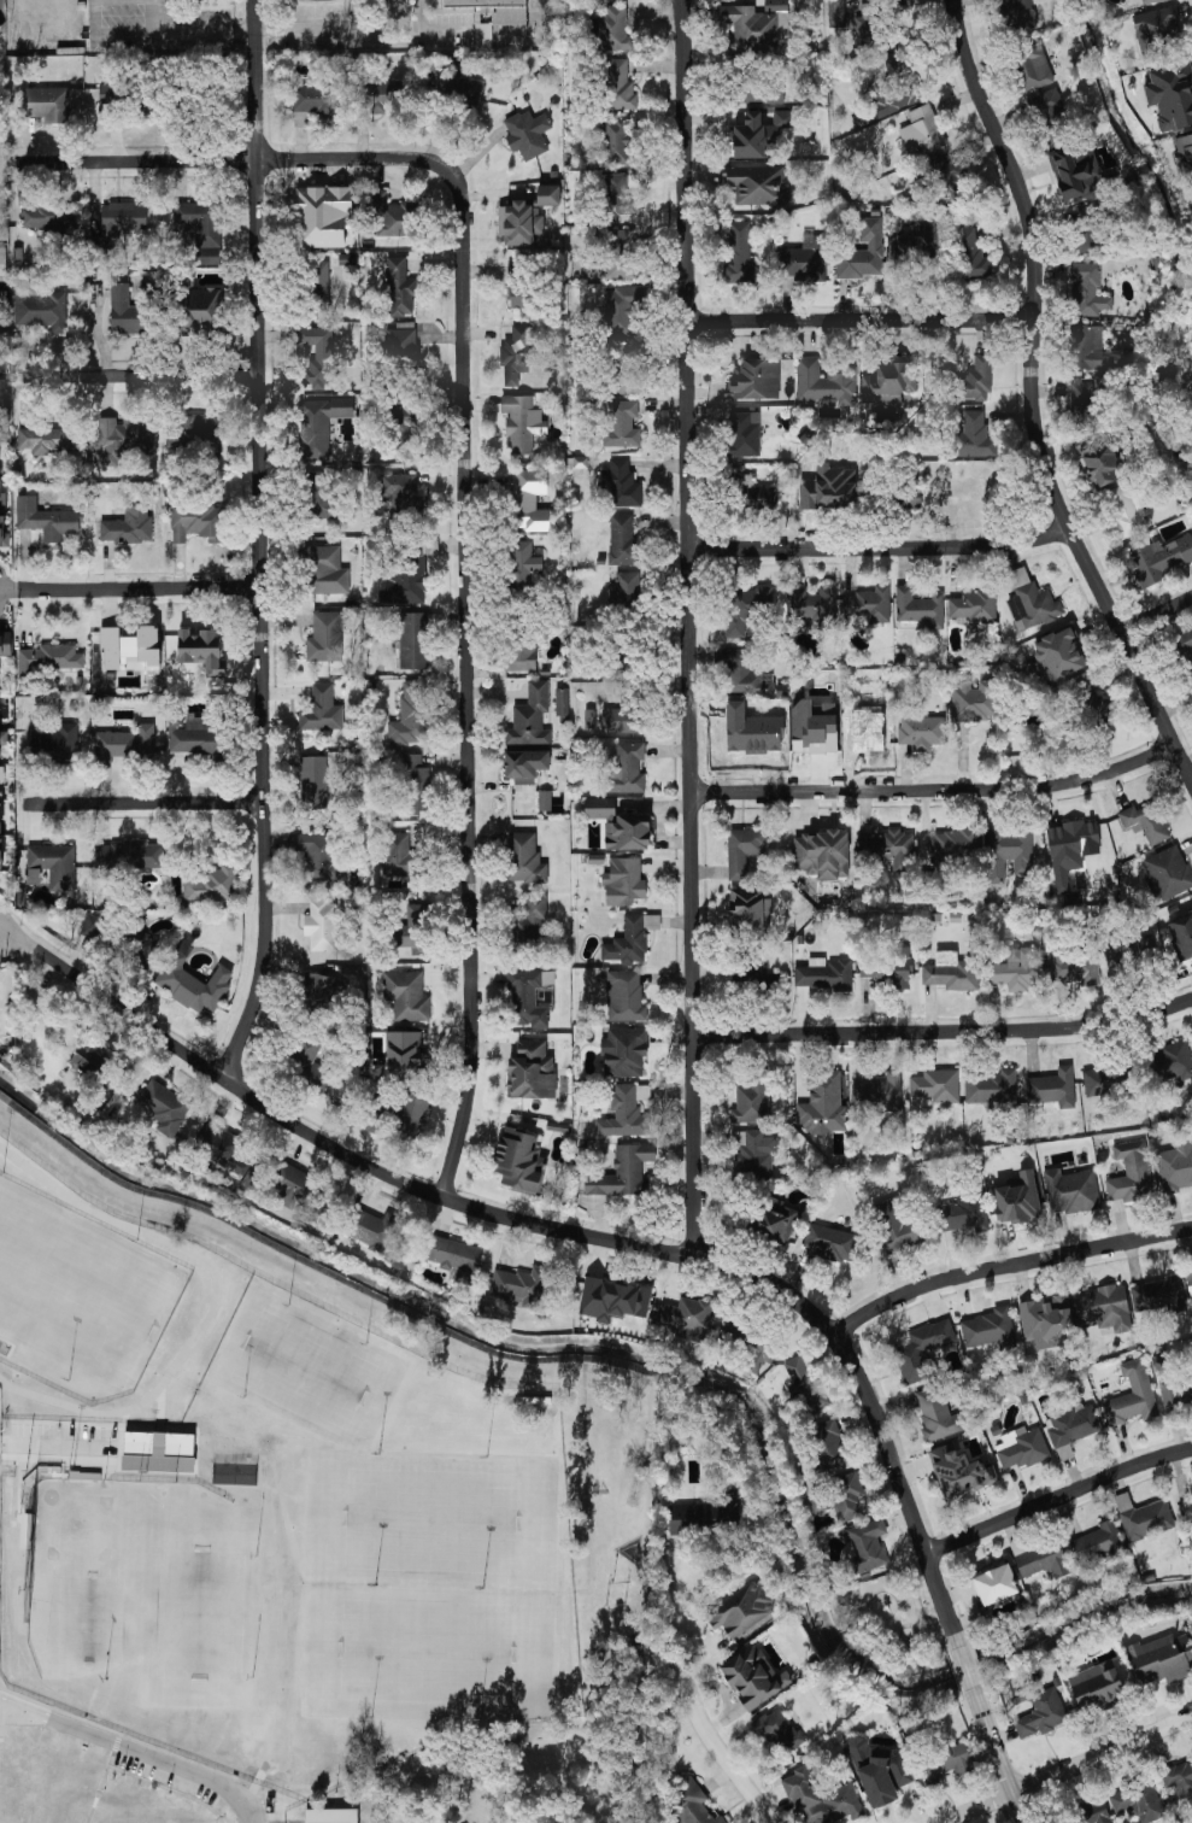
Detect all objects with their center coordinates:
building: (1150, 1)
road: (550, 5)
building: (499, 10)
building: (836, 13)
building: (853, 13)
building: (1012, 14)
building: (757, 24)
building: (875, 27)
road: (335, 28)
building: (613, 28)
road: (431, 29)
building: (1158, 31)
road: (189, 33)
building: (1032, 66)
building: (456, 82)
building: (620, 84)
building: (898, 87)
building: (759, 90)
building: (107, 93)
building: (378, 94)
building: (1172, 95)
building: (315, 101)
building: (47, 104)
building: (1050, 109)
building: (922, 131)
building: (761, 133)
building: (527, 134)
building: (617, 139)
building: (1184, 157)
road: (241, 159)
building: (1075, 170)
building: (943, 182)
building: (758, 184)
building: (548, 194)
building: (617, 194)
building: (322, 216)
building: (389, 216)
building: (49, 217)
building: (123, 218)
building: (519, 223)
building: (201, 228)
building: (1088, 241)
building: (920, 247)
building: (863, 252)
building: (620, 253)
building: (739, 253)
building: (971, 253)
building: (804, 259)
building: (2, 260)
building: (519, 285)
building: (318, 288)
building: (400, 288)
building: (1088, 289)
building: (40, 309)
building: (201, 309)
building: (622, 309)
building: (124, 311)
road: (863, 318)
building: (401, 341)
building: (1088, 348)
building: (518, 353)
building: (317, 357)
building: (628, 368)
road: (141, 374)
building: (756, 379)
building: (976, 380)
building: (824, 382)
building: (889, 382)
building: (4, 388)
road: (1035, 393)
building: (1082, 403)
building: (522, 422)
building: (319, 424)
building: (622, 424)
building: (399, 426)
building: (204, 429)
building: (745, 433)
building: (974, 436)
building: (125, 438)
building: (52, 439)
building: (1103, 458)
building: (622, 485)
building: (322, 494)
building: (401, 496)
building: (756, 496)
building: (528, 499)
building: (912, 499)
building: (2, 500)
building: (1126, 510)
building: (47, 520)
building: (198, 522)
building: (130, 523)
building: (4, 533)
building: (622, 540)
road: (262, 541)
road: (879, 546)
building: (1159, 557)
building: (523, 563)
building: (325, 570)
building: (406, 575)
building: (627, 586)
road: (131, 591)
building: (1030, 602)
building: (869, 605)
building: (973, 605)
building: (920, 606)
building: (746, 608)
building: (814, 608)
road: (1157, 614)
road: (689, 628)
building: (325, 637)
building: (413, 640)
building: (6, 641)
building: (130, 646)
building: (201, 649)
building: (1059, 655)
building: (521, 656)
building: (49, 658)
building: (744, 674)
road: (468, 685)
building: (562, 702)
building: (975, 702)
building: (322, 710)
building: (410, 715)
building: (530, 717)
building: (622, 720)
building: (812, 727)
building: (868, 731)
building: (922, 732)
building: (192, 734)
building: (4, 738)
building: (128, 743)
building: (53, 744)
building: (524, 764)
building: (627, 768)
building: (1, 773)
building: (313, 781)
building: (417, 785)
road: (940, 790)
building: (545, 799)
road: (151, 801)
building: (0, 817)
building: (1146, 821)
building: (620, 825)
building: (744, 849)
building: (1069, 849)
building: (883, 852)
building: (1009, 852)
building: (1, 854)
building: (397, 854)
building: (822, 854)
building: (950, 854)
building: (129, 855)
building: (317, 855)
building: (524, 858)
building: (55, 864)
building: (1168, 873)
building: (33, 875)
building: (624, 881)
building: (211, 884)
building: (751, 909)
building: (532, 915)
building: (322, 925)
building: (92, 927)
building: (413, 927)
building: (1182, 934)
building: (632, 939)
building: (139, 951)
building: (1115, 959)
building: (889, 967)
building: (1074, 967)
building: (1016, 969)
building: (952, 972)
building: (823, 974)
building: (194, 981)
building: (318, 990)
building: (406, 996)
building: (529, 996)
building: (626, 996)
road: (944, 1032)
building: (624, 1051)
building: (405, 1053)
building: (1172, 1061)
building: (307, 1063)
building: (532, 1071)
building: (1109, 1080)
building: (936, 1085)
building: (992, 1086)
building: (1053, 1088)
building: (880, 1091)
building: (751, 1100)
building: (823, 1104)
building: (165, 1107)
building: (627, 1112)
building: (398, 1115)
road: (325, 1142)
building: (221, 1147)
building: (753, 1154)
building: (519, 1160)
building: (1175, 1167)
building: (622, 1172)
building: (1131, 1173)
building: (290, 1183)
building: (1071, 1191)
building: (1017, 1198)
building: (964, 1212)
building: (775, 1219)
building: (898, 1226)
building: (370, 1229)
building: (829, 1242)
building: (456, 1258)
road: (1008, 1265)
building: (1190, 1280)
building: (519, 1284)
park: (77, 1289)
building: (1157, 1295)
building: (613, 1300)
building: (1104, 1308)
building: (686, 1317)
building: (1046, 1320)
building: (990, 1329)
building: (750, 1346)
building: (922, 1350)
park: (305, 1367)
building: (1191, 1371)
building: (808, 1385)
building: (1170, 1387)
building: (1133, 1395)
road: (873, 1411)
building: (936, 1414)
building: (1074, 1426)
building: (827, 1444)
building: (1022, 1448)
building: (959, 1472)
building: (846, 1496)
road: (1057, 1499)
building: (1191, 1505)
building: (706, 1516)
building: (1144, 1517)
park: (431, 1523)
building: (1098, 1544)
building: (867, 1547)
building: (1040, 1558)
park: (118, 1570)
building: (996, 1584)
building: (741, 1610)
road: (667, 1616)
park: (892, 1622)
park: (428, 1649)
building: (1162, 1658)
road: (965, 1671)
building: (753, 1677)
building: (1097, 1687)
road: (10, 1705)
building: (1043, 1713)
building: (779, 1729)
road: (137, 1749)
road: (266, 1754)
road: (726, 1755)
road: (1000, 1760)
building: (943, 1762)
road: (1067, 1770)
building: (880, 1771)
building: (1179, 1780)
building: (822, 1799)
building: (1140, 1801)
building: (691, 1803)
building: (1094, 1813)
building: (331, 1816)

